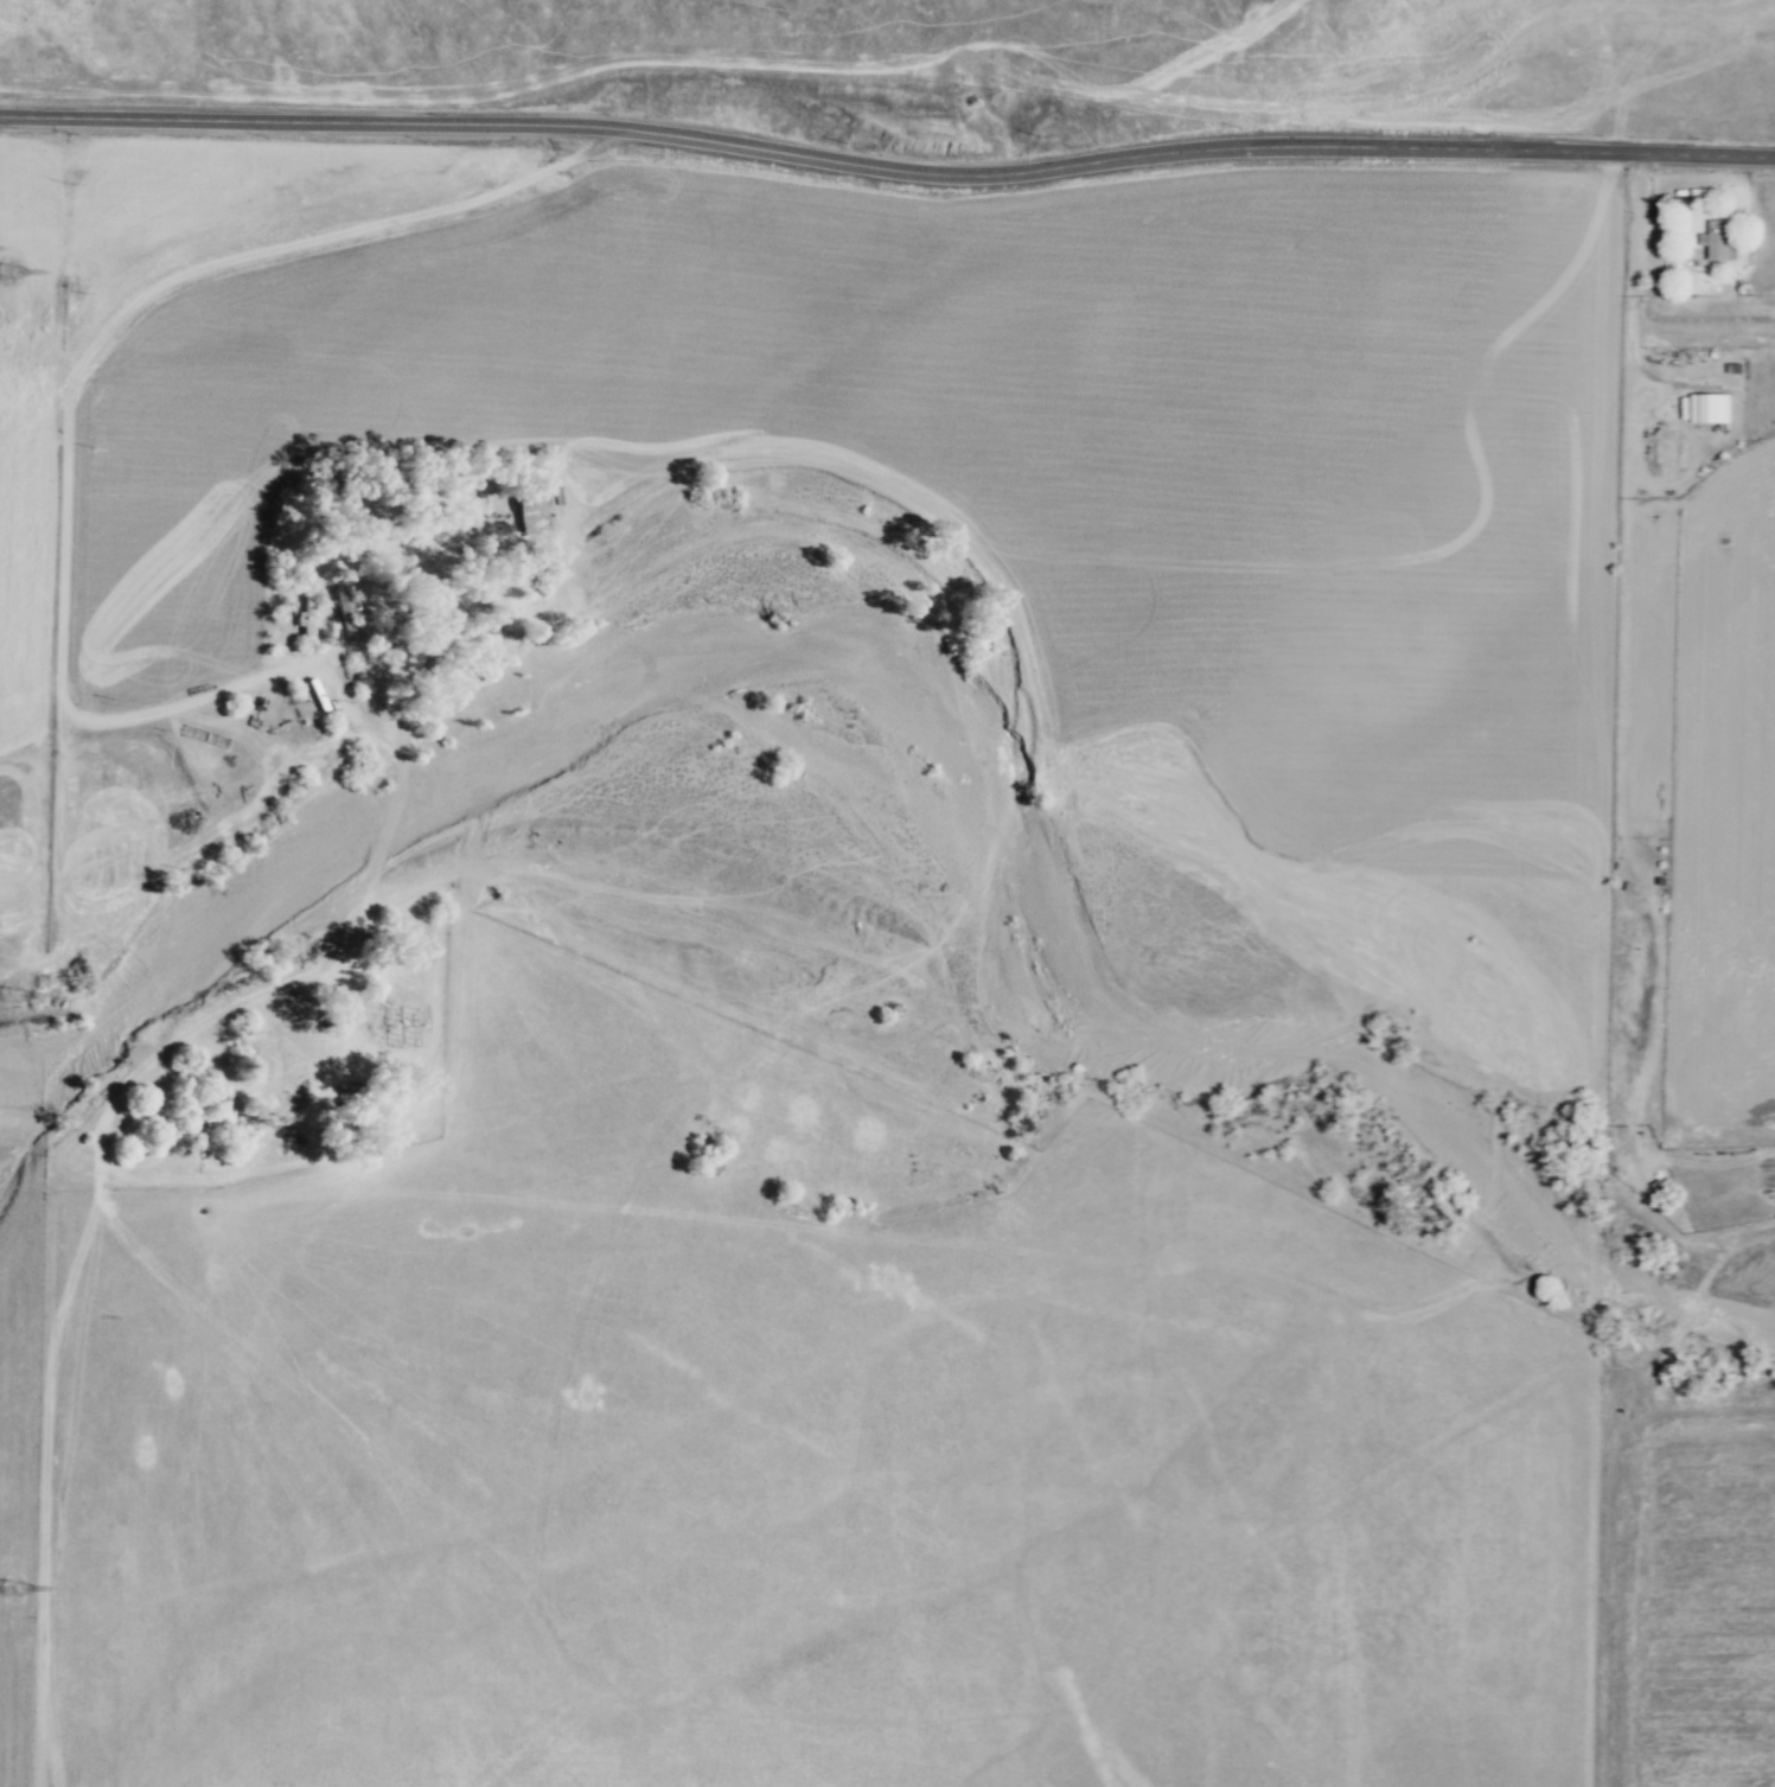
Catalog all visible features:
road: (887, 166)
building: (1722, 241)
power tower: (5, 272)
road: (1630, 301)
road: (68, 408)
building: (1710, 408)
building: (530, 512)
building: (341, 608)
building: (305, 611)
river: (952, 746)
crop: (1724, 804)
road: (1622, 825)
road: (325, 965)
power tower: (11, 997)
road: (371, 1147)
road: (1705, 1179)
road: (1610, 1473)
road: (44, 1489)
power tower: (12, 1589)
crop: (1686, 1597)

